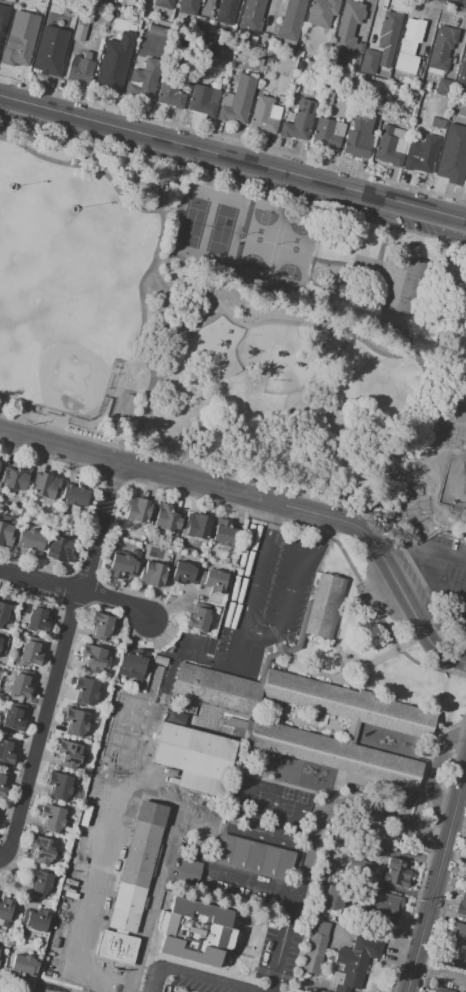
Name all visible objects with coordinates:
building: (2, 2)
building: (35, 2)
building: (102, 2)
building: (163, 4)
building: (188, 8)
building: (41, 10)
building: (226, 12)
building: (321, 12)
building: (4, 15)
building: (252, 16)
building: (117, 20)
building: (291, 20)
building: (162, 23)
building: (156, 30)
building: (348, 30)
building: (79, 32)
building: (388, 32)
building: (408, 45)
building: (17, 46)
building: (441, 47)
building: (50, 50)
building: (299, 54)
building: (86, 55)
building: (269, 56)
building: (226, 57)
building: (370, 61)
building: (299, 66)
building: (79, 70)
building: (462, 72)
building: (110, 76)
building: (145, 78)
building: (215, 85)
building: (443, 85)
building: (231, 87)
building: (170, 94)
building: (412, 97)
building: (238, 101)
building: (202, 102)
road: (4, 115)
building: (263, 116)
building: (436, 122)
building: (297, 126)
building: (328, 134)
building: (359, 135)
road: (90, 136)
building: (389, 147)
building: (420, 154)
road: (233, 156)
road: (86, 168)
road: (199, 168)
building: (451, 170)
building: (465, 182)
park: (192, 222)
park: (224, 230)
park: (23, 233)
park: (259, 239)
park: (295, 249)
road: (145, 278)
road: (371, 281)
building: (407, 285)
road: (222, 315)
road: (423, 333)
park: (238, 335)
park: (60, 344)
road: (184, 344)
road: (410, 355)
road: (151, 369)
road: (1, 403)
building: (126, 403)
building: (457, 415)
building: (465, 435)
road: (213, 472)
building: (15, 478)
building: (432, 483)
building: (44, 485)
building: (75, 495)
road: (263, 499)
building: (137, 510)
building: (167, 518)
road: (274, 520)
building: (197, 527)
building: (5, 534)
building: (224, 534)
building: (30, 541)
road: (322, 542)
building: (60, 550)
building: (188, 550)
road: (398, 557)
road: (426, 557)
building: (121, 567)
parking lot: (443, 571)
building: (183, 574)
building: (153, 575)
road: (438, 577)
building: (214, 581)
road: (77, 590)
road: (435, 603)
building: (323, 608)
building: (2, 612)
building: (198, 617)
building: (36, 621)
building: (100, 626)
road: (255, 634)
building: (0, 639)
building: (30, 653)
building: (92, 659)
road: (59, 660)
building: (133, 662)
road: (225, 666)
building: (19, 686)
building: (215, 688)
building: (86, 691)
building: (127, 705)
building: (14, 717)
building: (76, 723)
building: (235, 723)
building: (275, 731)
building: (114, 735)
building: (6, 751)
building: (69, 754)
building: (195, 756)
road: (434, 771)
building: (60, 787)
road: (147, 787)
building: (2, 789)
road: (457, 810)
road: (250, 815)
building: (52, 819)
road: (314, 836)
building: (373, 846)
building: (42, 850)
building: (253, 857)
building: (357, 866)
building: (137, 868)
building: (186, 871)
building: (397, 872)
building: (465, 877)
road: (251, 882)
building: (40, 883)
building: (333, 897)
building: (383, 907)
building: (462, 907)
building: (5, 908)
road: (428, 916)
building: (35, 919)
building: (195, 932)
building: (457, 937)
building: (115, 949)
building: (316, 949)
building: (355, 963)
building: (23, 966)
road: (191, 977)
building: (441, 990)

